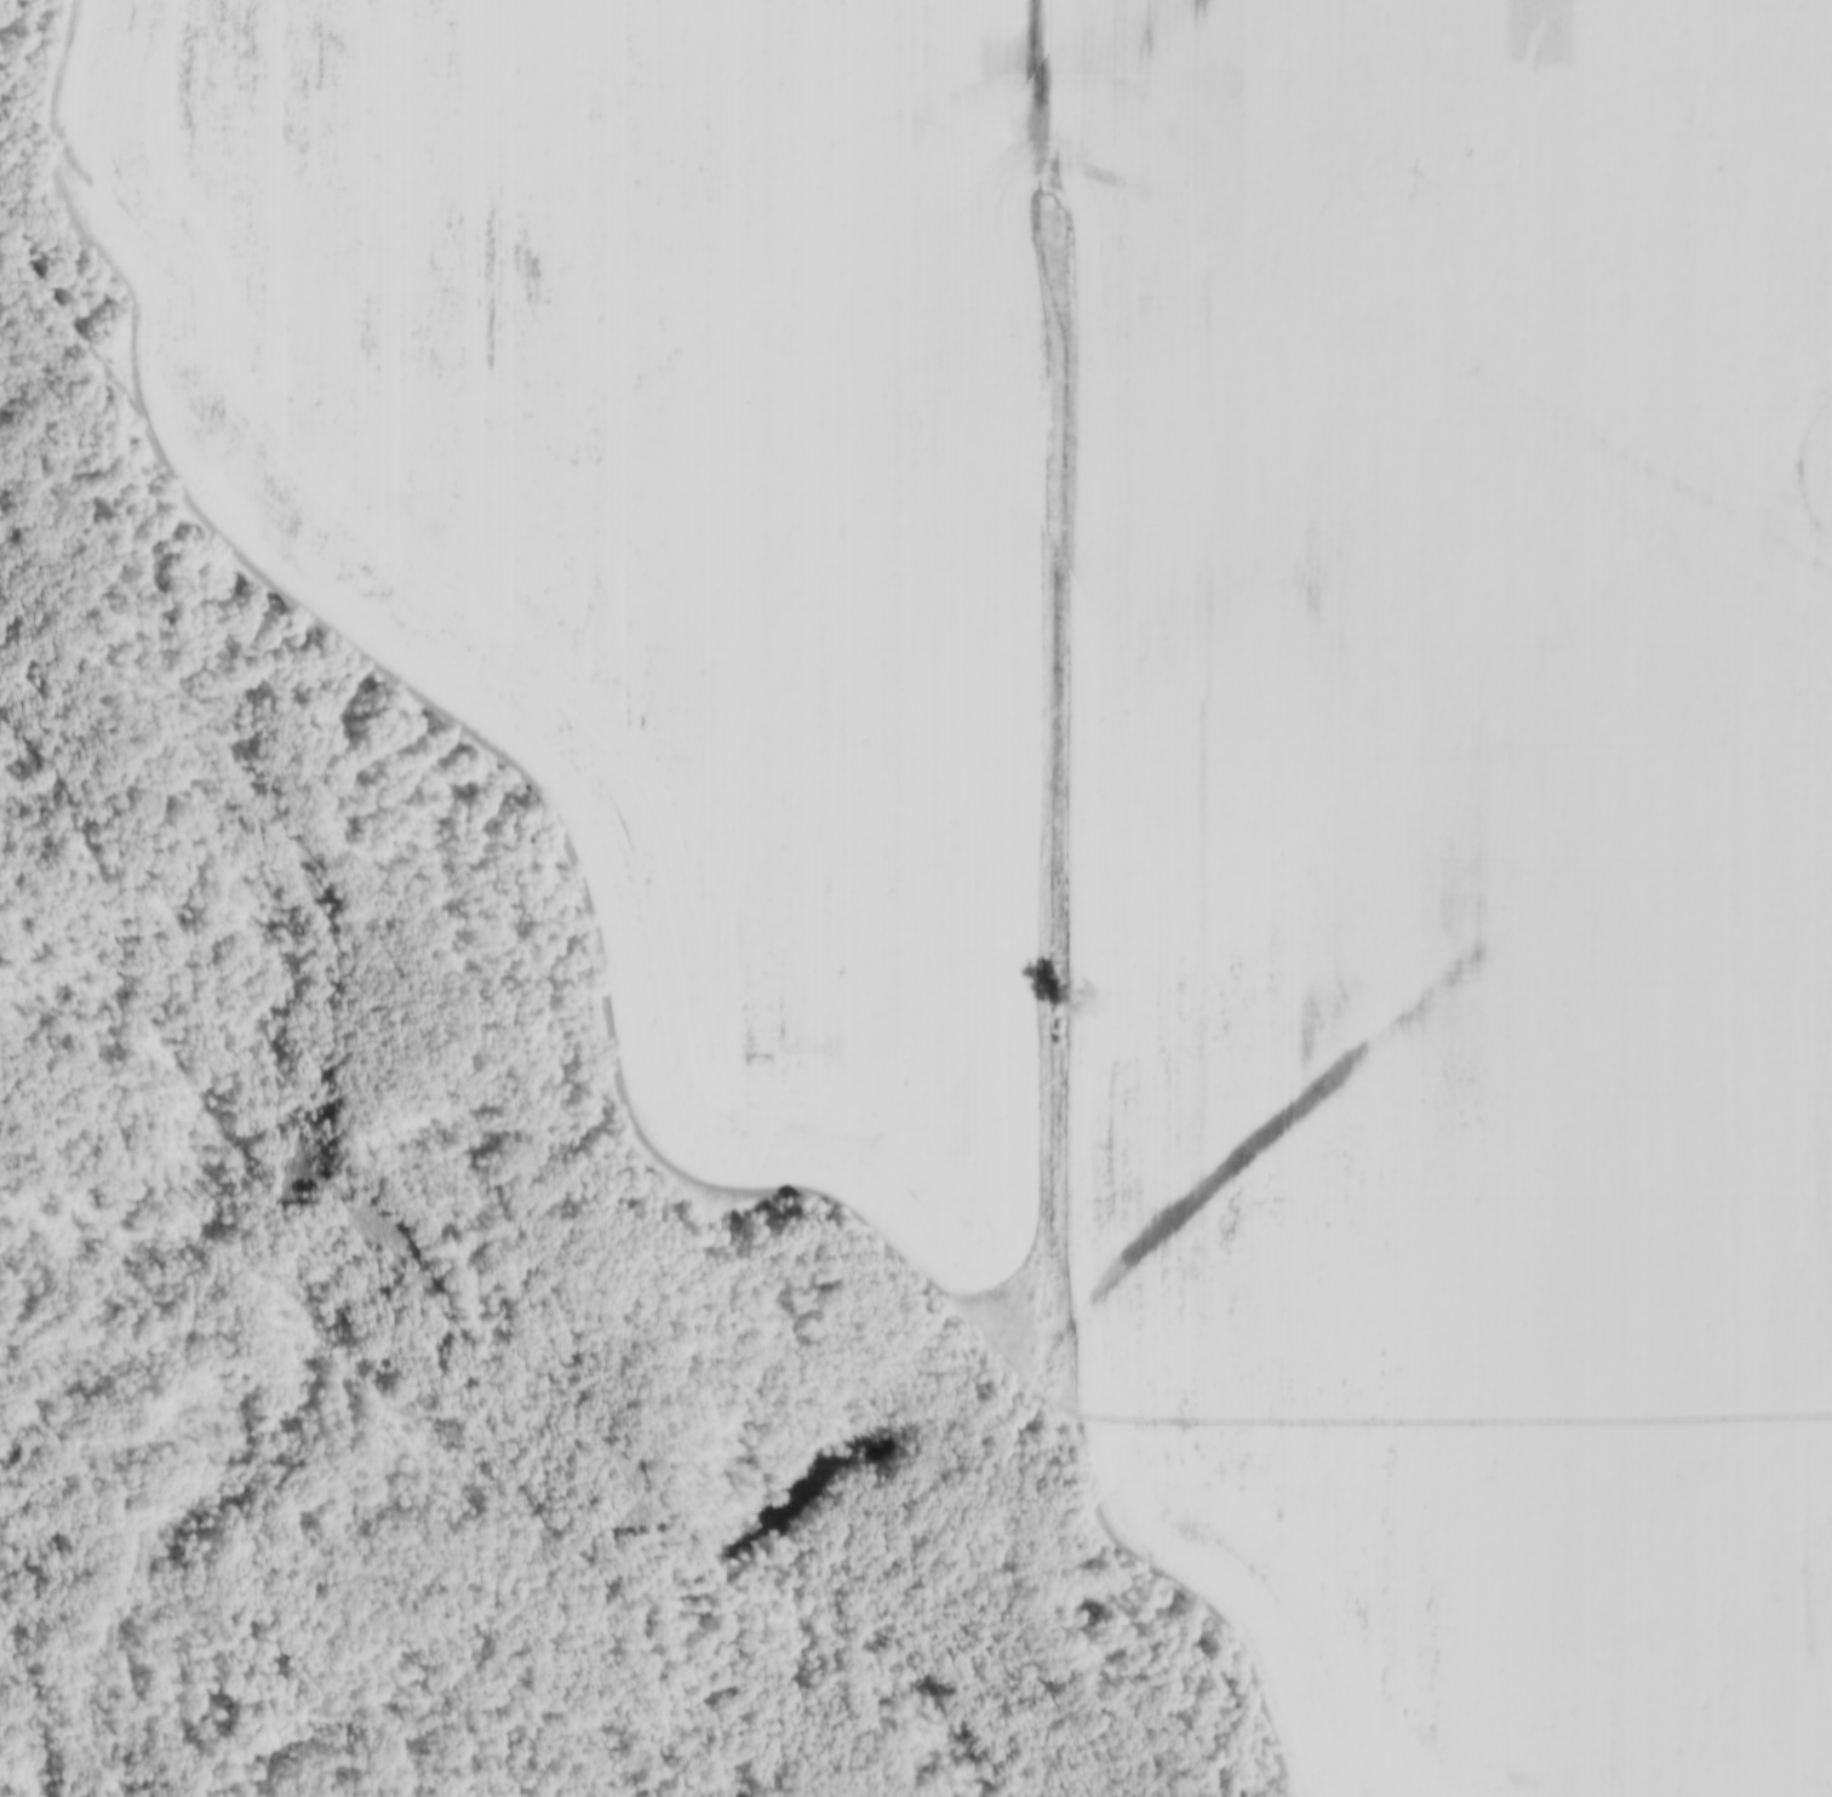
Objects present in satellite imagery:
road: (636, 1101)

